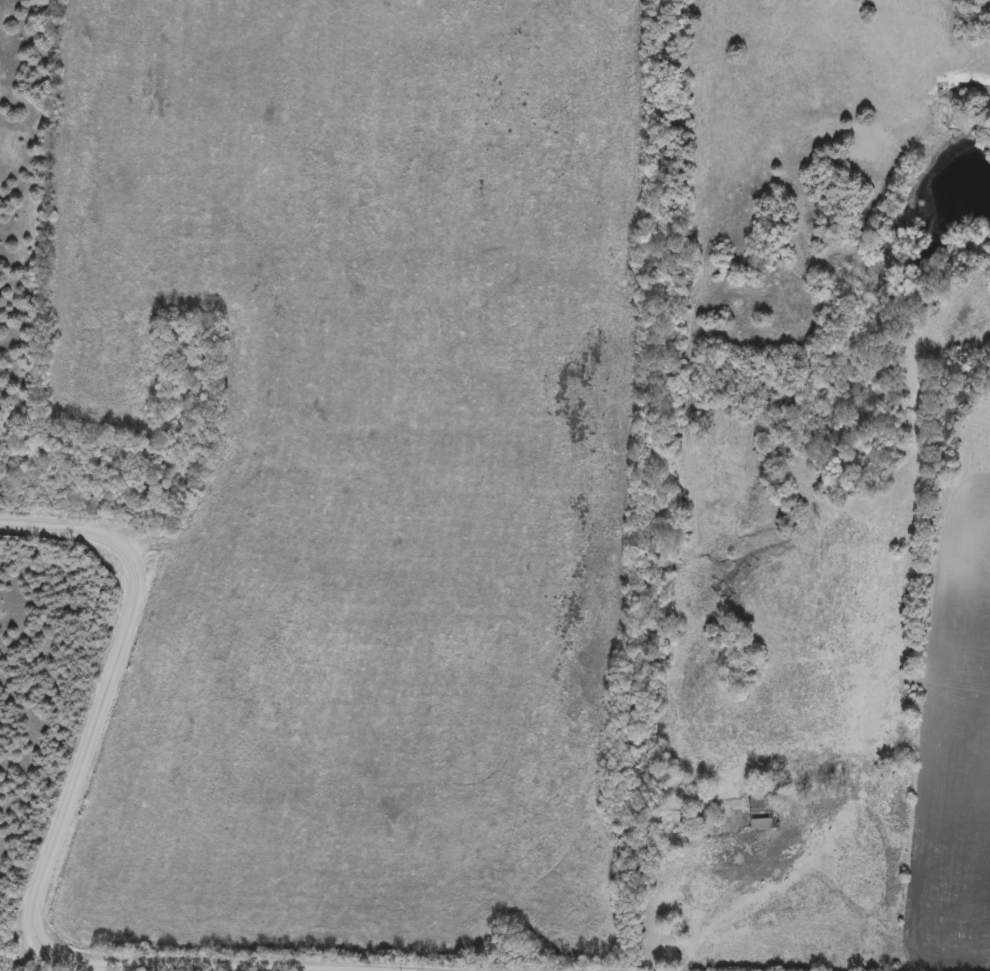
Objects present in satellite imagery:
building: (757, 810)
road: (56, 831)

